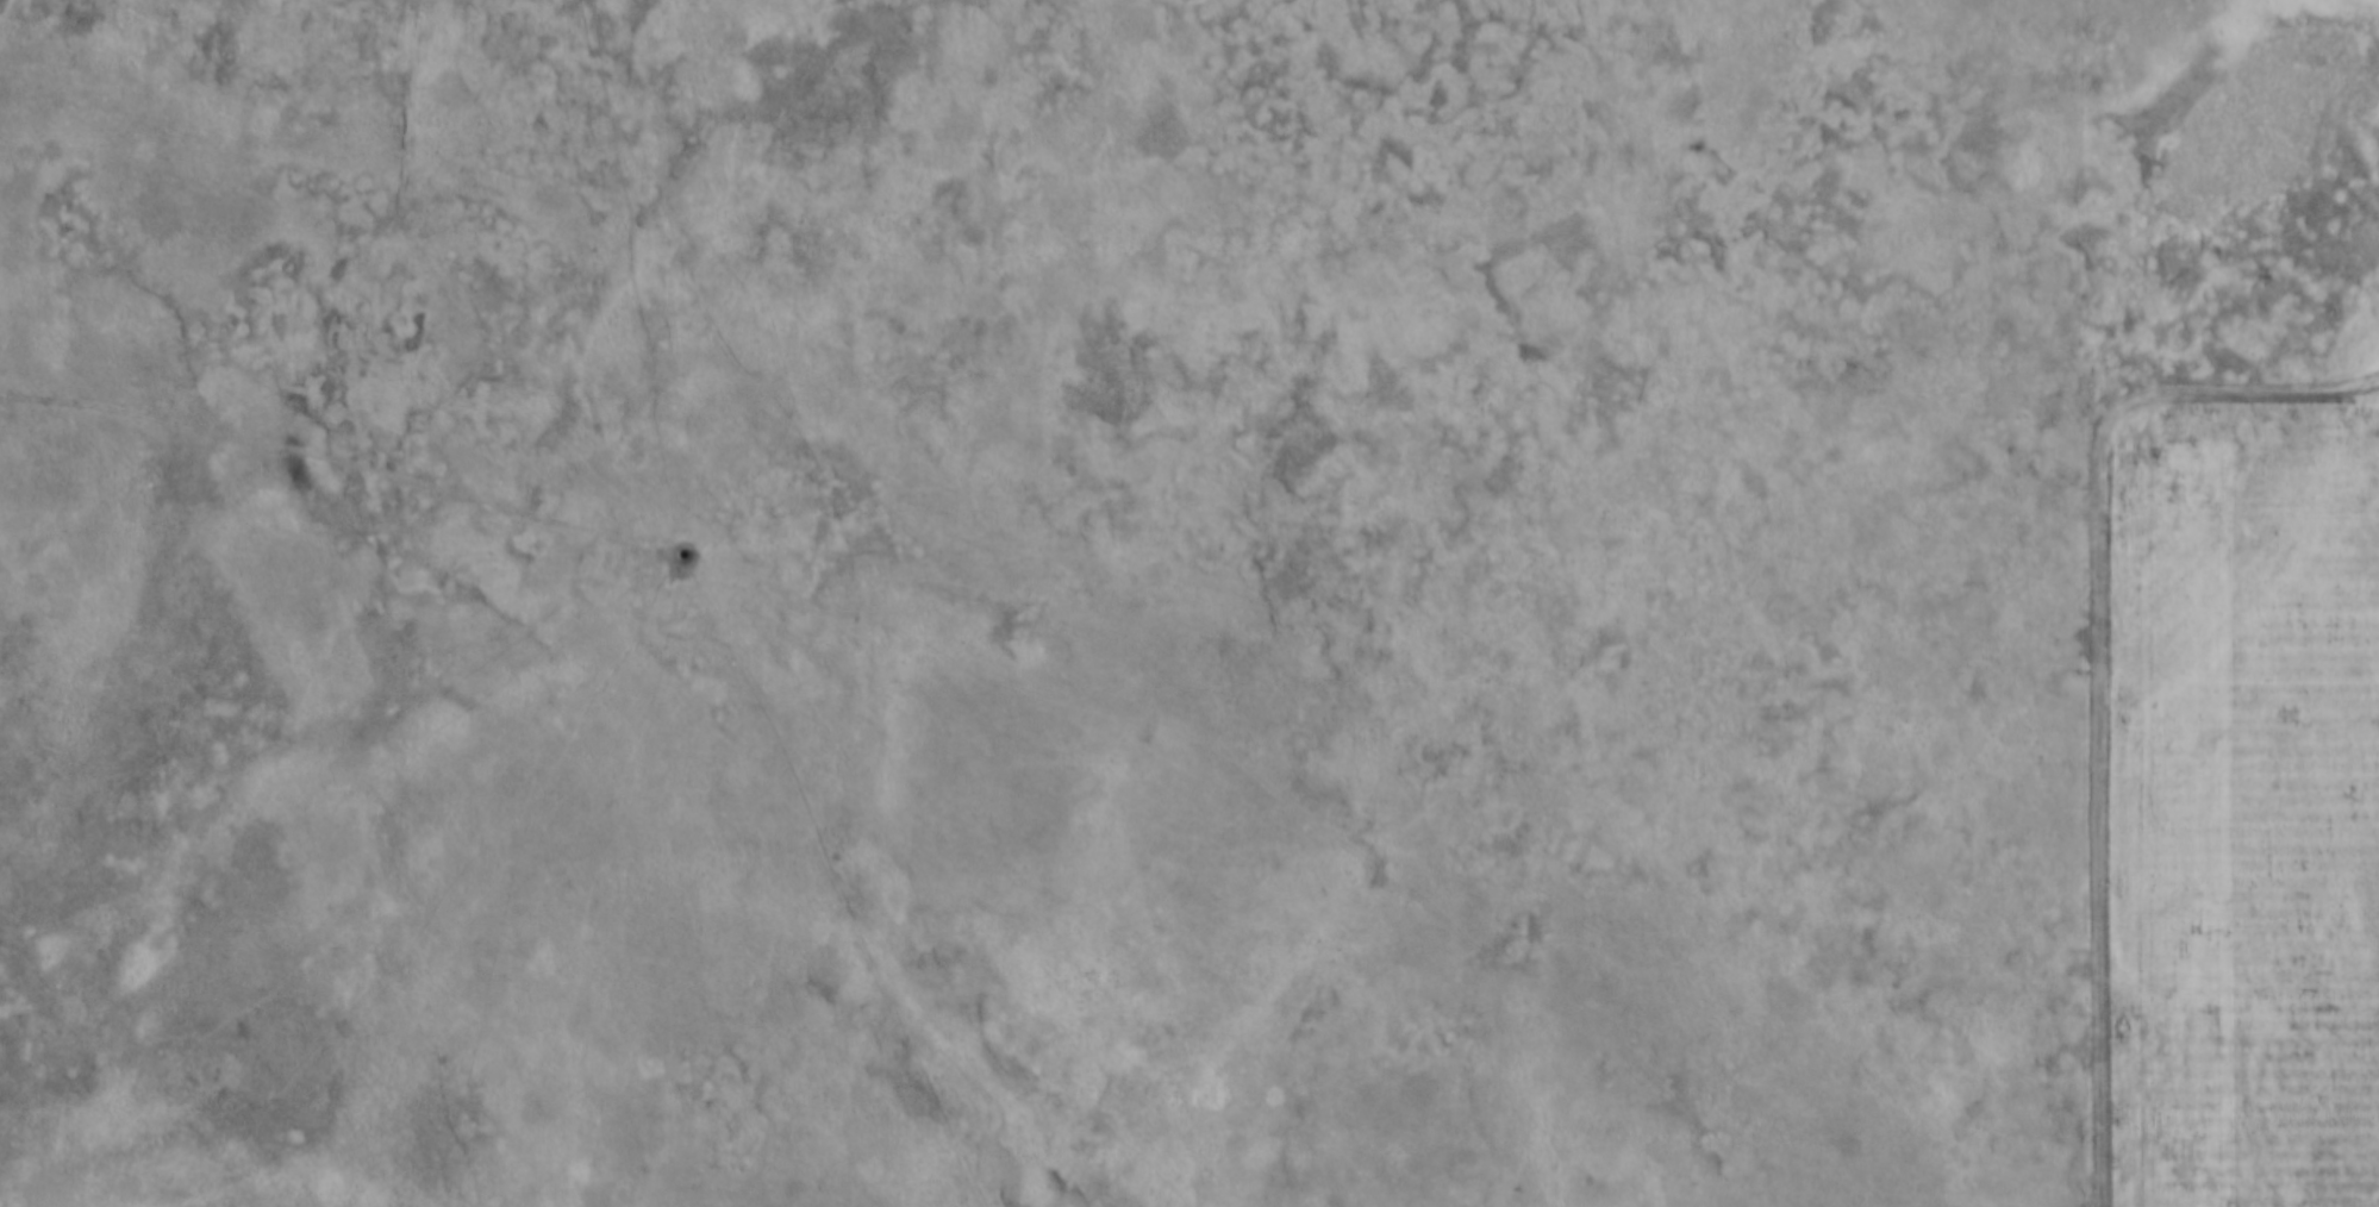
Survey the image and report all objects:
road: (2364, 1195)

